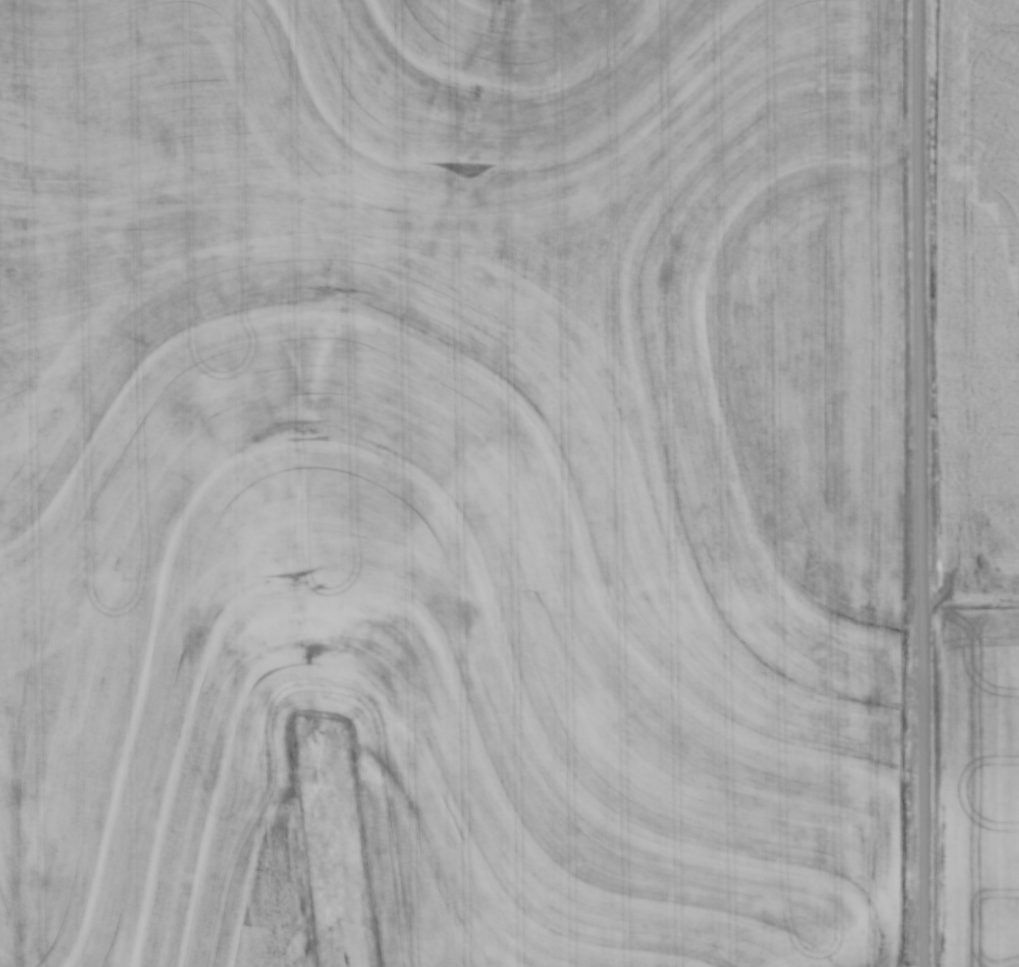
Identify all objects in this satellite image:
road: (928, 483)

